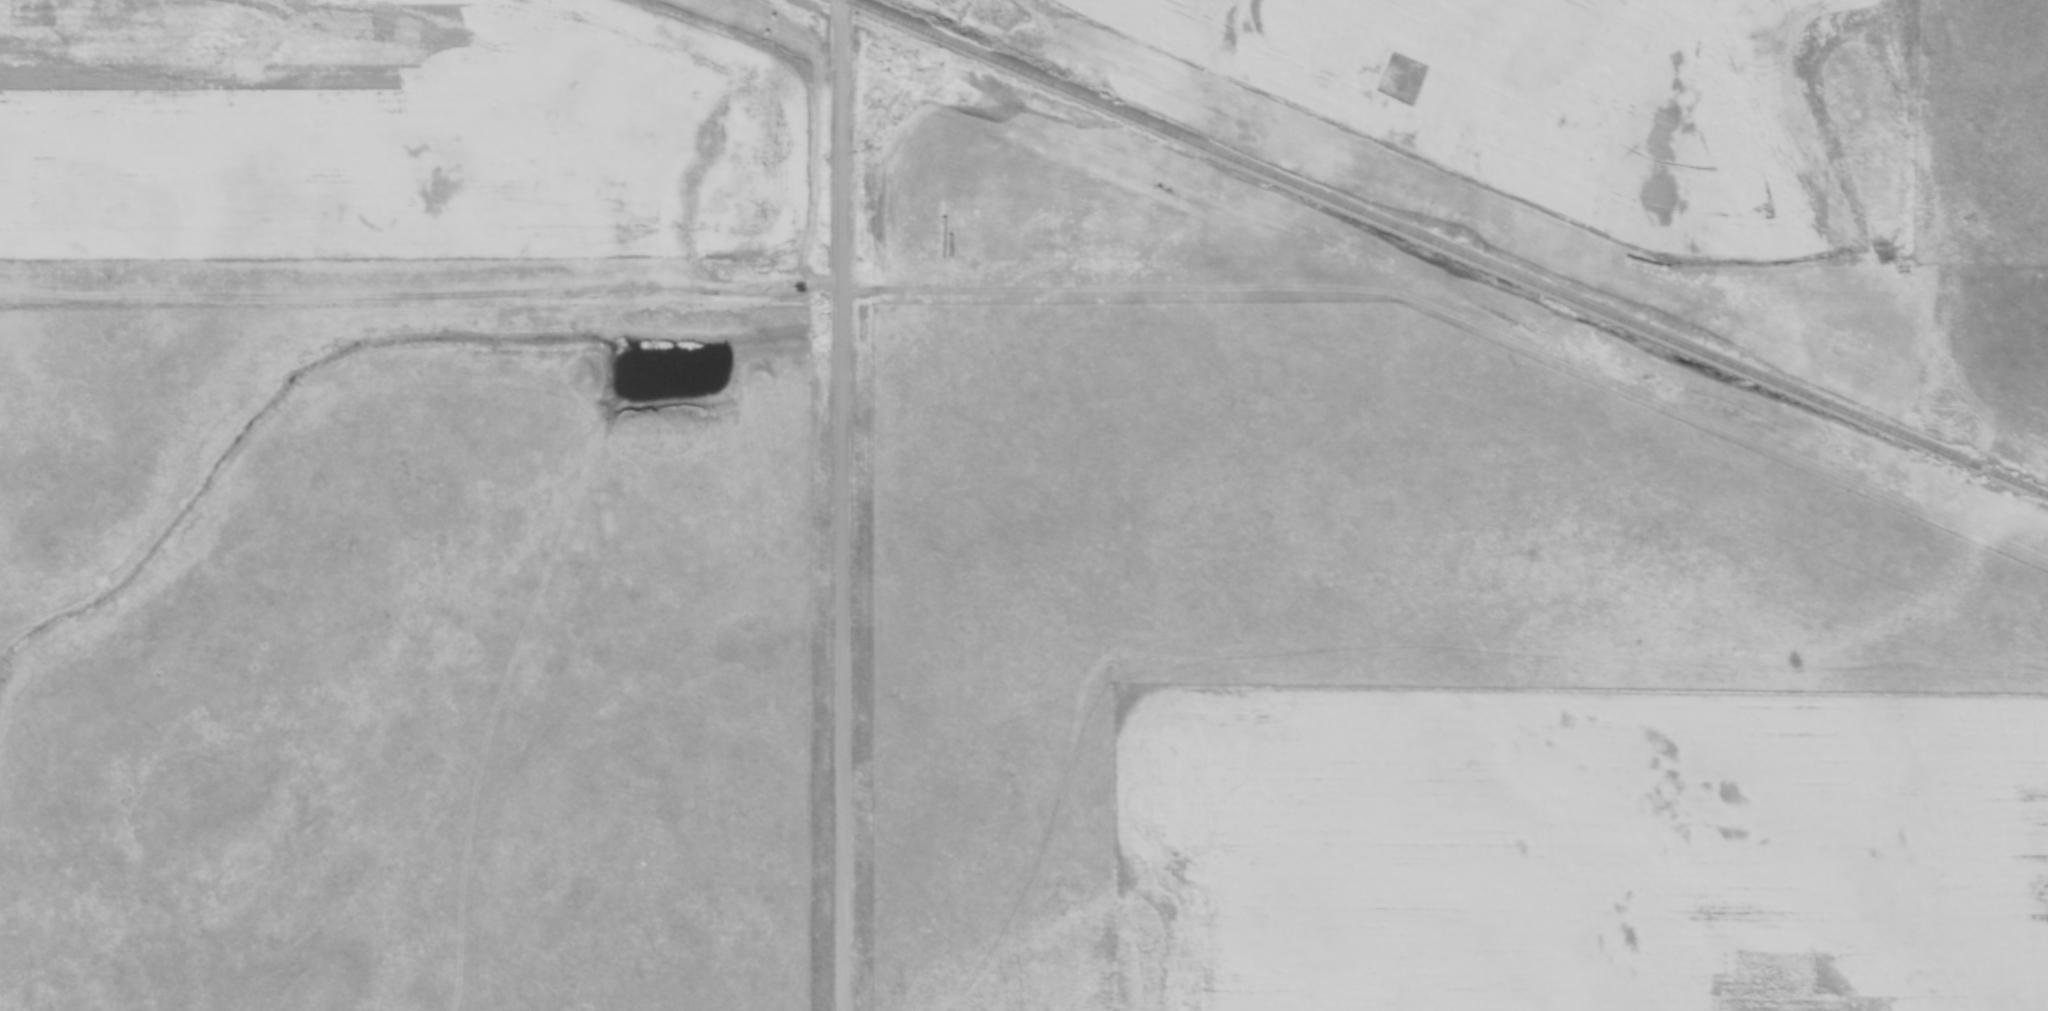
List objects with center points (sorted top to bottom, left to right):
railway: (1448, 247)
road: (420, 285)
road: (842, 505)

